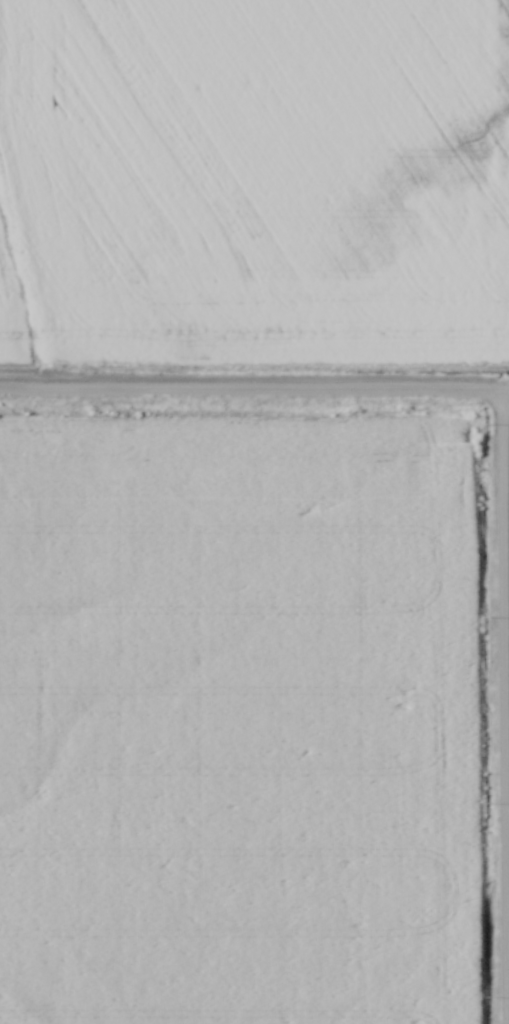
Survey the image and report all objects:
road: (254, 393)
road: (504, 709)

